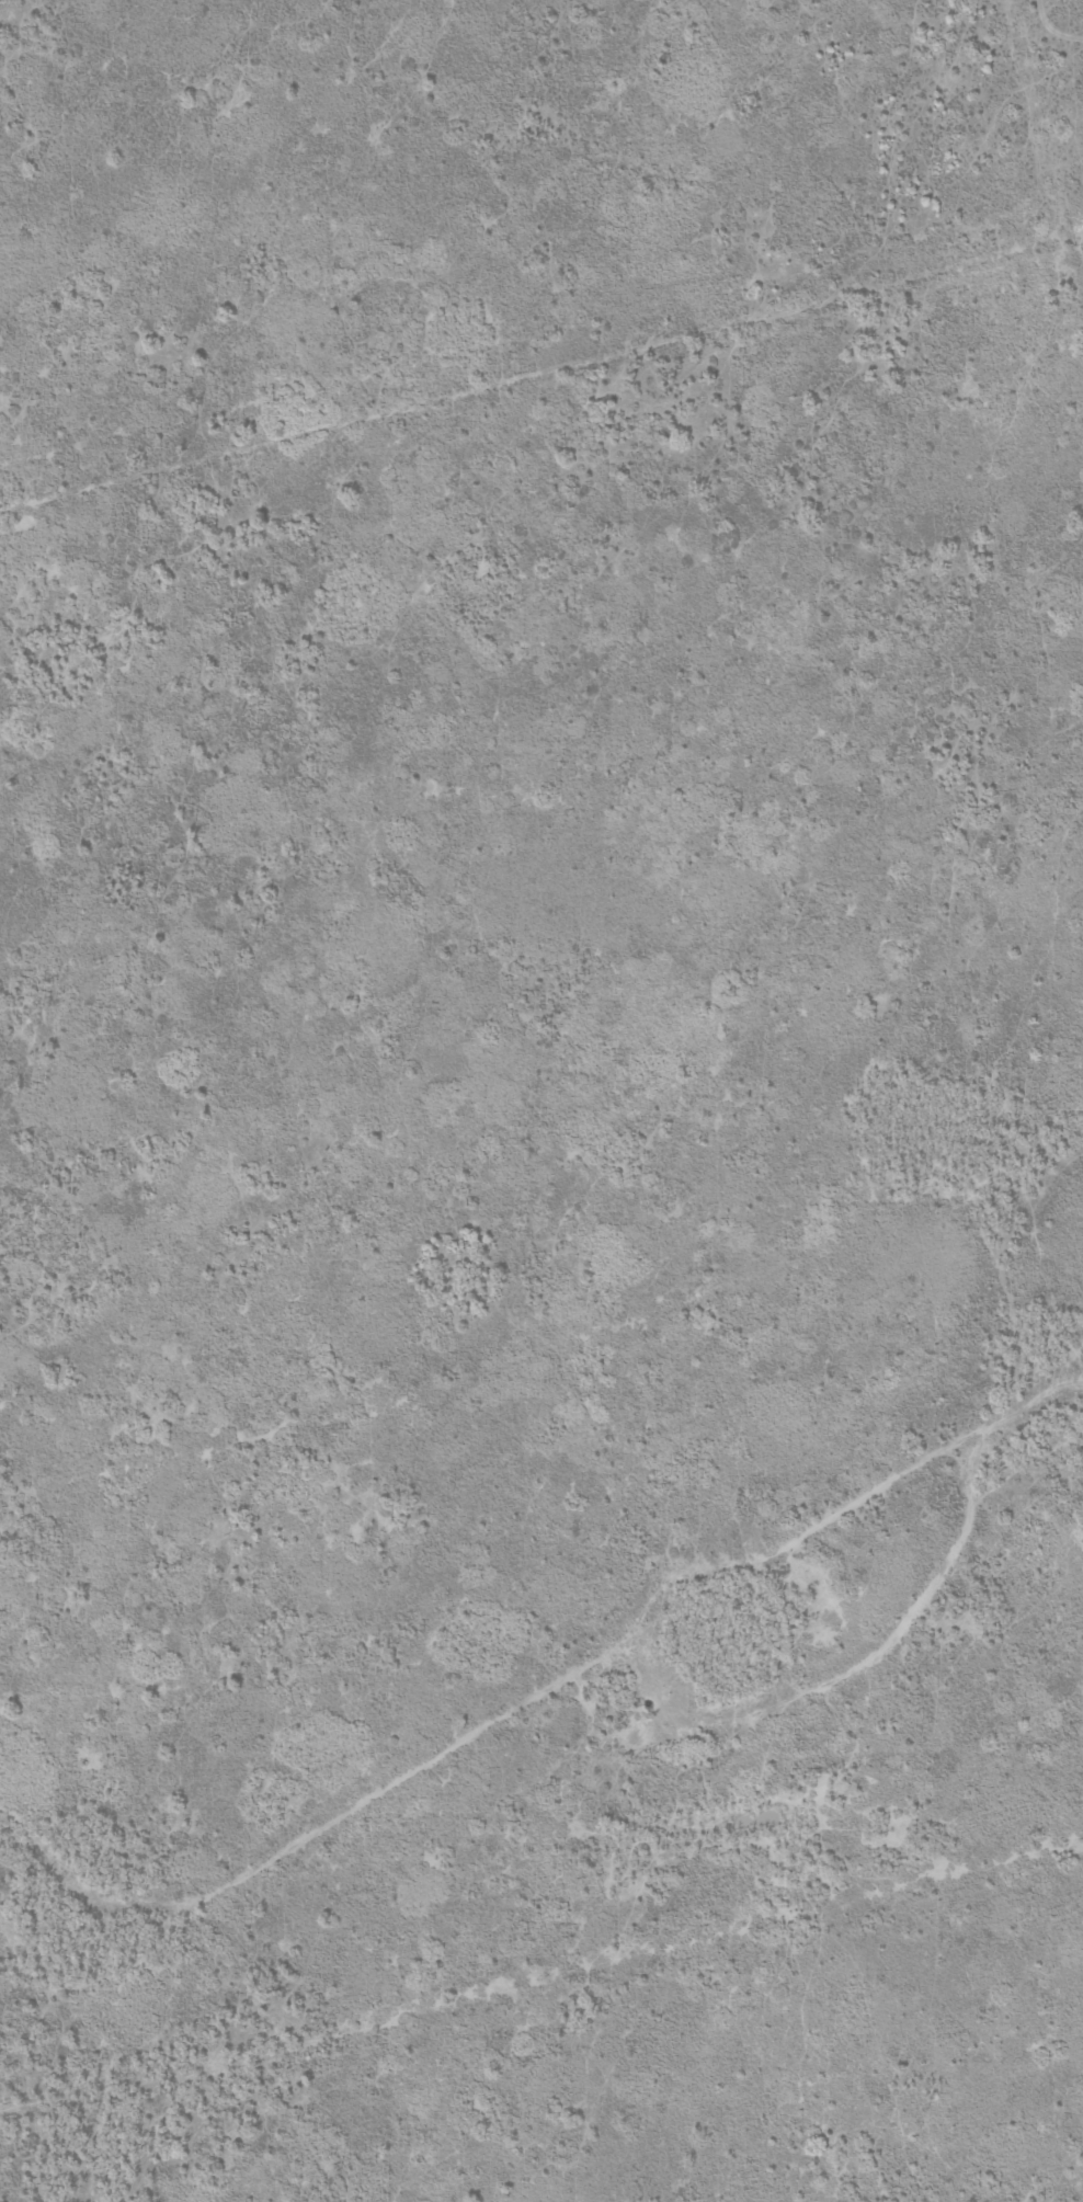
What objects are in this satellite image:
road: (460, 1716)
road: (56, 1874)

